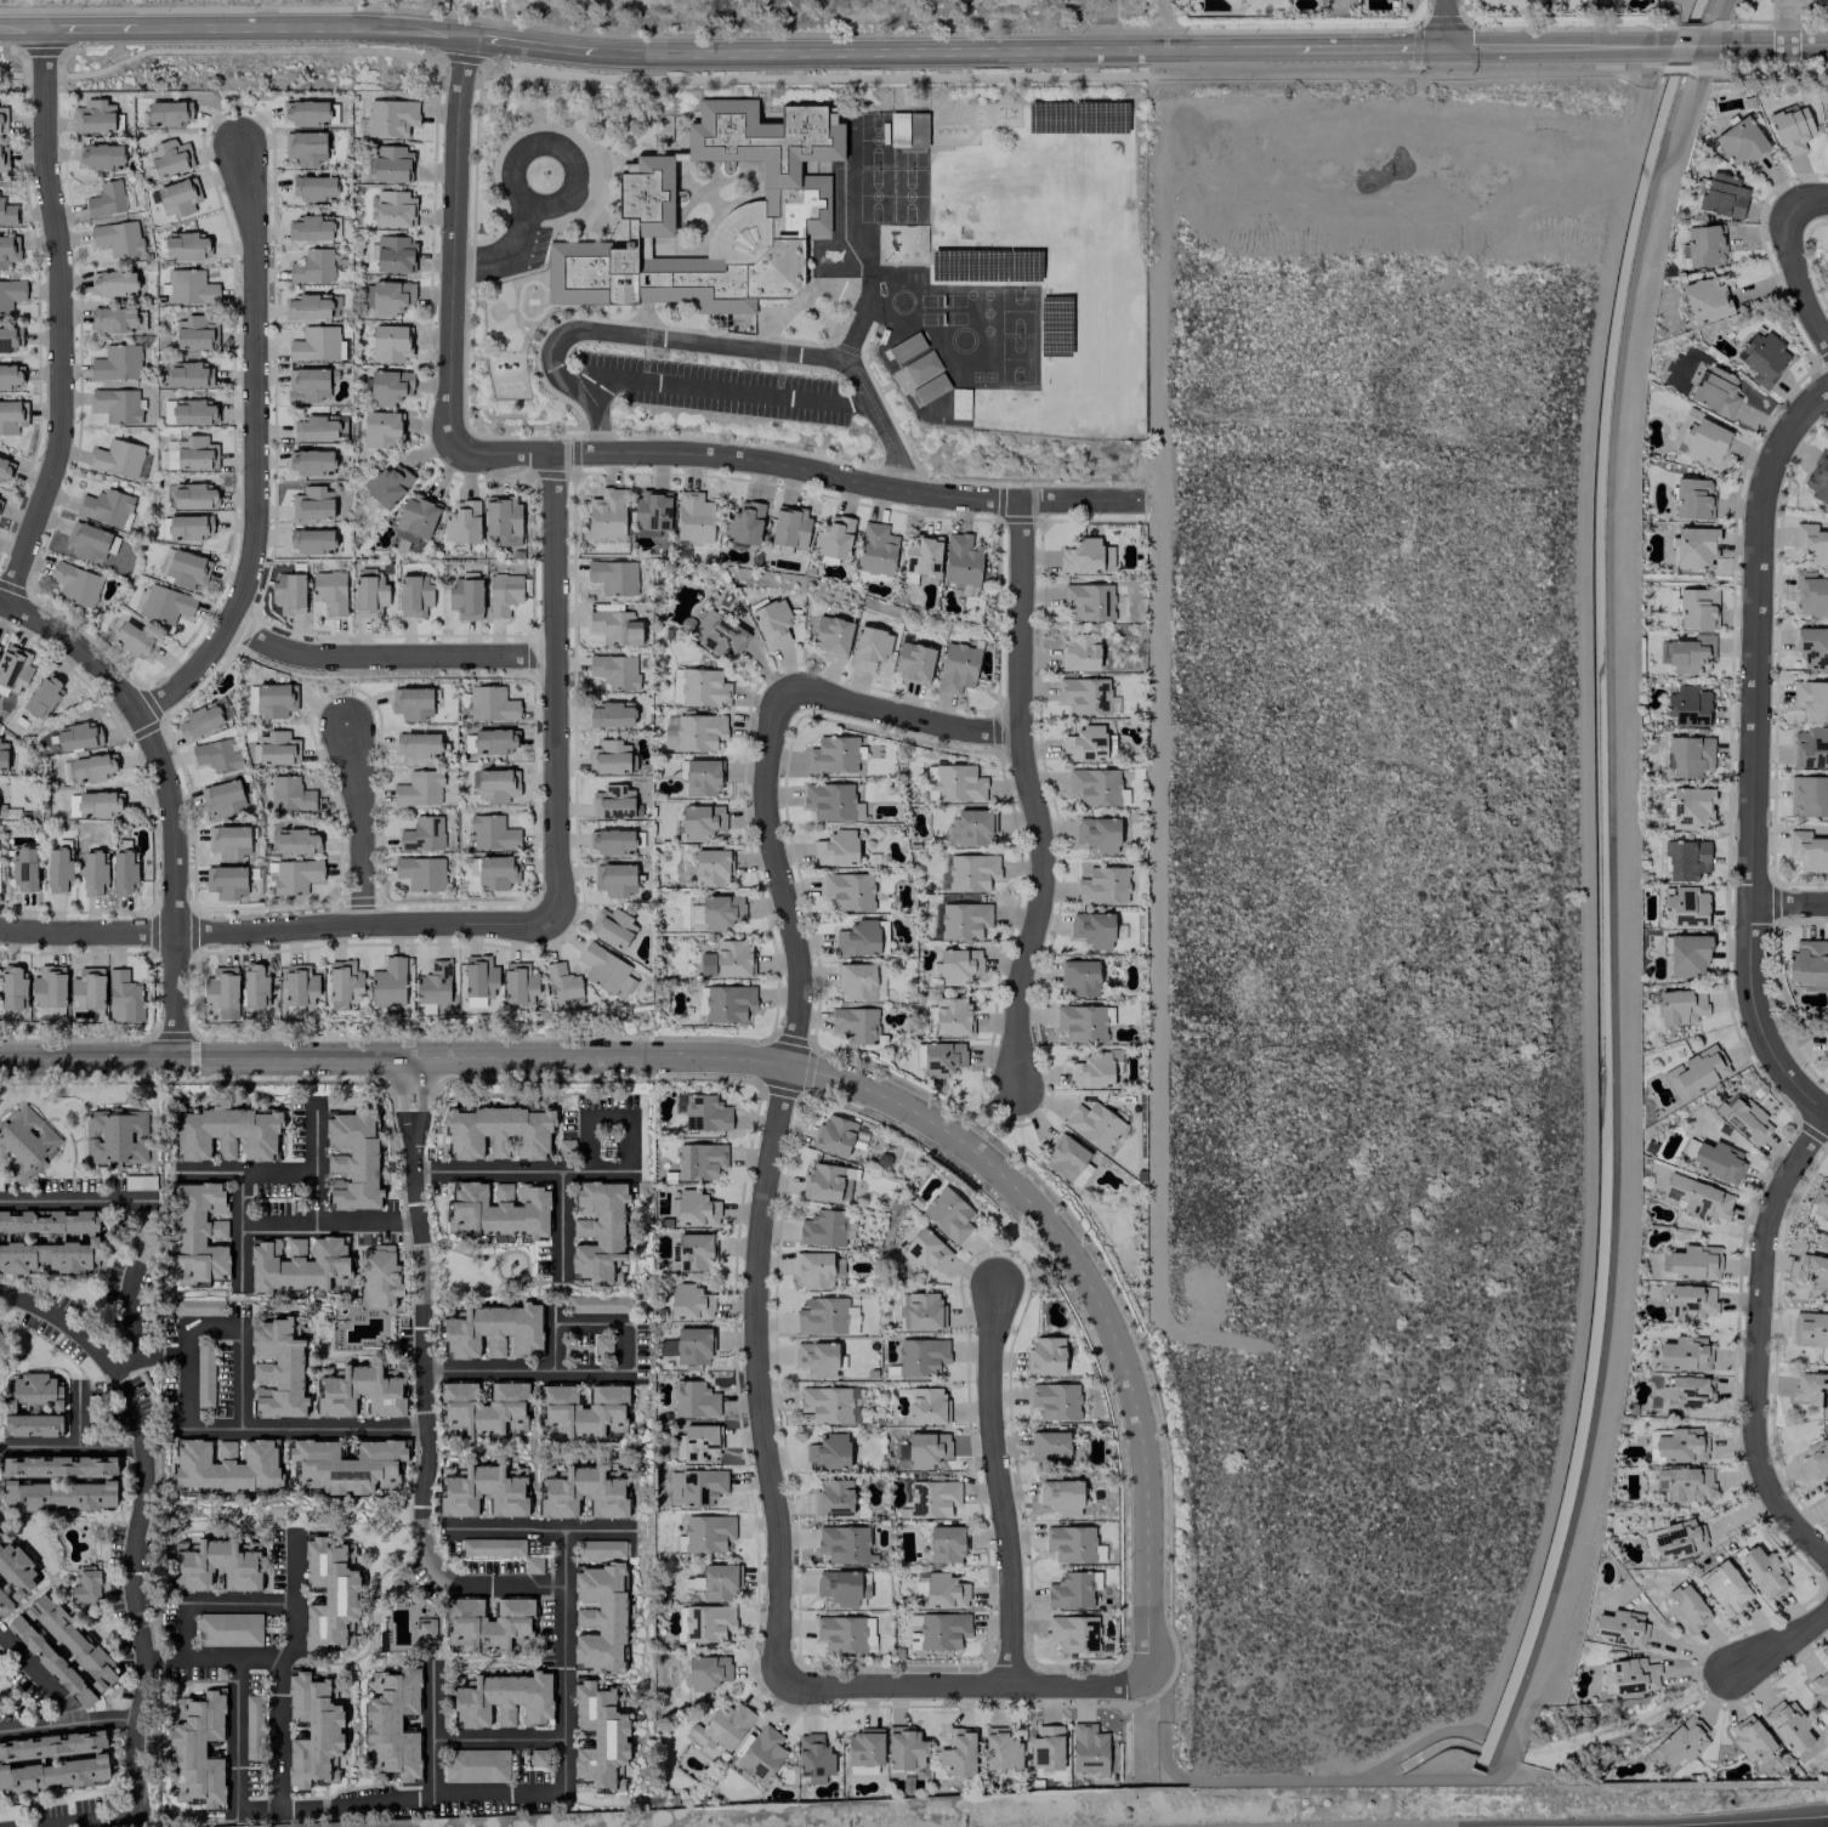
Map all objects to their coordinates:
road: (1784, 22)
road: (1446, 24)
road: (1108, 27)
road: (218, 28)
road: (385, 28)
road: (22, 29)
road: (90, 29)
road: (1636, 46)
road: (1370, 49)
traffic signals: (1447, 49)
road: (1276, 50)
road: (863, 55)
road: (242, 83)
building: (305, 112)
building: (165, 113)
building: (93, 117)
building: (390, 117)
building: (2, 119)
building: (907, 129)
building: (1789, 129)
road: (543, 140)
building: (1738, 141)
building: (305, 146)
building: (100, 155)
building: (2, 158)
building: (169, 158)
building: (390, 164)
building: (313, 187)
building: (1722, 195)
building: (109, 198)
building: (176, 198)
building: (782, 205)
road: (1806, 205)
building: (393, 209)
building: (6, 212)
building: (117, 237)
road: (454, 237)
building: (184, 245)
building: (1703, 245)
building: (8, 250)
building: (394, 254)
road: (506, 254)
building: (312, 266)
building: (112, 283)
road: (1798, 285)
building: (191, 288)
building: (10, 294)
building: (391, 297)
building: (1705, 300)
building: (307, 307)
building: (112, 318)
road: (63, 322)
building: (197, 334)
building: (7, 339)
building: (390, 342)
building: (316, 344)
road: (706, 345)
building: (904, 347)
building: (1761, 358)
building: (117, 362)
building: (920, 367)
building: (8, 375)
building: (187, 375)
building: (307, 385)
building: (388, 386)
building: (930, 388)
building: (1715, 391)
parking lot: (725, 392)
road: (727, 392)
building: (115, 404)
building: (192, 413)
building: (12, 415)
building: (314, 429)
building: (381, 429)
building: (1699, 437)
building: (195, 453)
road: (256, 455)
building: (119, 458)
building: (310, 461)
building: (4, 467)
road: (794, 467)
building: (1818, 478)
building: (386, 483)
building: (193, 497)
building: (1692, 498)
building: (312, 504)
building: (107, 507)
building: (606, 514)
building: (651, 515)
building: (501, 517)
building: (693, 517)
building: (414, 520)
building: (461, 522)
building: (743, 523)
building: (186, 526)
building: (788, 529)
building: (833, 538)
building: (310, 540)
building: (86, 541)
building: (1811, 543)
building: (1694, 547)
building: (875, 550)
building: (921, 554)
building: (1080, 556)
building: (960, 560)
building: (186, 569)
building: (613, 577)
road: (1697, 580)
building: (75, 583)
building: (329, 591)
building: (369, 592)
building: (503, 594)
building: (413, 595)
building: (1811, 595)
building: (465, 597)
building: (165, 603)
building: (1697, 608)
building: (771, 623)
building: (615, 626)
building: (716, 634)
building: (830, 635)
building: (132, 640)
building: (1811, 646)
road: (76, 647)
building: (869, 647)
building: (1079, 652)
building: (1690, 653)
road: (390, 656)
building: (913, 662)
building: (956, 666)
building: (13, 668)
building: (614, 670)
road: (553, 682)
building: (703, 687)
building: (42, 694)
building: (1086, 696)
building: (1811, 699)
building: (273, 700)
building: (410, 703)
building: (490, 704)
building: (1687, 705)
building: (609, 714)
road: (899, 714)
building: (198, 721)
building: (698, 732)
building: (74, 736)
building: (492, 739)
building: (1084, 743)
building: (415, 744)
building: (277, 748)
building: (1810, 748)
building: (2, 754)
building: (834, 754)
road: (1752, 754)
building: (216, 755)
building: (1688, 755)
building: (609, 756)
building: (91, 767)
building: (702, 777)
building: (958, 783)
building: (495, 785)
building: (1096, 787)
building: (418, 788)
building: (290, 794)
building: (1809, 795)
road: (1029, 799)
building: (612, 801)
building: (830, 801)
building: (93, 804)
building: (1690, 807)
road: (358, 823)
building: (697, 823)
building: (973, 827)
building: (492, 833)
building: (422, 834)
building: (1097, 834)
building: (228, 841)
building: (296, 841)
building: (612, 841)
building: (835, 849)
building: (1807, 850)
building: (1685, 859)
building: (710, 868)
building: (23, 869)
building: (57, 869)
building: (123, 872)
building: (496, 872)
building: (971, 872)
building: (93, 873)
building: (420, 873)
building: (295, 876)
building: (614, 879)
building: (226, 881)
road: (172, 883)
building: (1102, 885)
building: (847, 890)
road: (1788, 902)
building: (1685, 907)
building: (963, 920)
building: (612, 926)
road: (277, 927)
building: (1092, 929)
building: (1686, 955)
building: (726, 959)
building: (1806, 963)
building: (958, 965)
building: (1079, 977)
building: (478, 980)
building: (856, 981)
building: (387, 982)
building: (342, 983)
building: (432, 983)
building: (518, 983)
building: (254, 986)
building: (299, 986)
building: (562, 986)
building: (12, 988)
building: (87, 989)
building: (125, 993)
building: (221, 993)
building: (699, 999)
building: (728, 1003)
building: (1680, 1006)
building: (952, 1016)
building: (1083, 1022)
building: (853, 1023)
building: (1826, 1048)
building: (942, 1059)
road: (783, 1065)
building: (1091, 1069)
building: (1694, 1072)
road: (402, 1095)
road: (420, 1095)
building: (704, 1112)
road: (606, 1116)
road: (1827, 1117)
building: (1745, 1119)
building: (1094, 1124)
building: (496, 1133)
building: (223, 1134)
building: (834, 1135)
building: (114, 1136)
building: (24, 1141)
road: (585, 1142)
road: (626, 1142)
building: (1065, 1158)
building: (1714, 1158)
road: (314, 1159)
building: (352, 1159)
building: (699, 1161)
road: (520, 1170)
road: (244, 1171)
road: (770, 1175)
building: (827, 1182)
building: (1822, 1197)
building: (1696, 1198)
road: (75, 1199)
building: (696, 1208)
building: (498, 1209)
building: (947, 1214)
road: (328, 1221)
road: (560, 1225)
building: (824, 1227)
road: (239, 1231)
building: (598, 1231)
building: (199, 1232)
building: (92, 1237)
building: (925, 1250)
building: (694, 1252)
building: (1693, 1261)
building: (296, 1264)
building: (812, 1270)
building: (1812, 1271)
building: (380, 1277)
building: (1690, 1300)
building: (689, 1301)
building: (597, 1304)
building: (198, 1306)
building: (920, 1310)
building: (825, 1316)
road: (587, 1322)
road: (129, 1323)
building: (490, 1329)
building: (1810, 1329)
road: (211, 1333)
road: (552, 1334)
building: (0, 1338)
road: (1759, 1343)
building: (692, 1345)
road: (621, 1346)
building: (666, 1346)
building: (1045, 1354)
building: (1684, 1354)
building: (921, 1356)
building: (818, 1358)
road: (420, 1363)
building: (277, 1368)
road: (521, 1369)
road: (239, 1372)
building: (204, 1375)
road: (184, 1380)
building: (32, 1390)
building: (359, 1390)
building: (1688, 1390)
building: (1812, 1390)
building: (693, 1398)
building: (1055, 1400)
building: (927, 1405)
building: (827, 1406)
building: (482, 1407)
building: (580, 1411)
building: (32, 1424)
road: (305, 1428)
building: (699, 1442)
building: (1680, 1445)
building: (1049, 1446)
road: (70, 1447)
building: (922, 1449)
building: (828, 1452)
building: (1816, 1457)
building: (57, 1465)
building: (226, 1465)
building: (346, 1465)
road: (997, 1482)
building: (1684, 1482)
building: (696, 1486)
building: (479, 1491)
building: (581, 1492)
building: (57, 1494)
building: (1824, 1494)
building: (1061, 1496)
building: (833, 1497)
building: (932, 1497)
road: (135, 1522)
road: (535, 1528)
building: (705, 1533)
building: (1674, 1539)
building: (844, 1543)
building: (1073, 1543)
building: (944, 1544)
building: (492, 1547)
building: (601, 1548)
building: (215, 1565)
building: (532, 1565)
building: (16, 1570)
building: (1762, 1573)
building: (720, 1581)
road: (506, 1584)
building: (863, 1584)
building: (1725, 1585)
building: (86, 1587)
building: (838, 1587)
building: (1072, 1589)
building: (943, 1591)
building: (329, 1595)
road: (238, 1601)
building: (4, 1604)
building: (1686, 1607)
building: (598, 1617)
building: (706, 1622)
building: (489, 1623)
building: (424, 1628)
building: (1619, 1628)
building: (228, 1629)
building: (943, 1630)
road: (182, 1632)
building: (1073, 1633)
building: (845, 1634)
building: (70, 1640)
road: (1777, 1641)
building: (50, 1661)
road: (562, 1661)
road: (161, 1662)
road: (232, 1662)
road: (279, 1667)
building: (706, 1672)
building: (1633, 1675)
road: (38, 1676)
road: (958, 1685)
building: (1821, 1691)
building: (503, 1698)
road: (66, 1723)
building: (392, 1723)
road: (1629, 1724)
building: (722, 1725)
building: (1787, 1725)
building: (252, 1726)
road: (431, 1729)
building: (312, 1732)
road: (234, 1736)
building: (598, 1737)
road: (496, 1738)
building: (1750, 1738)
building: (1681, 1741)
building: (52, 1744)
building: (864, 1746)
building: (904, 1748)
building: (197, 1749)
building: (1000, 1749)
building: (1088, 1749)
building: (1045, 1751)
building: (958, 1752)
building: (761, 1753)
building: (812, 1758)
building: (477, 1765)
building: (52, 1774)
road: (397, 1799)
road: (92, 1822)

